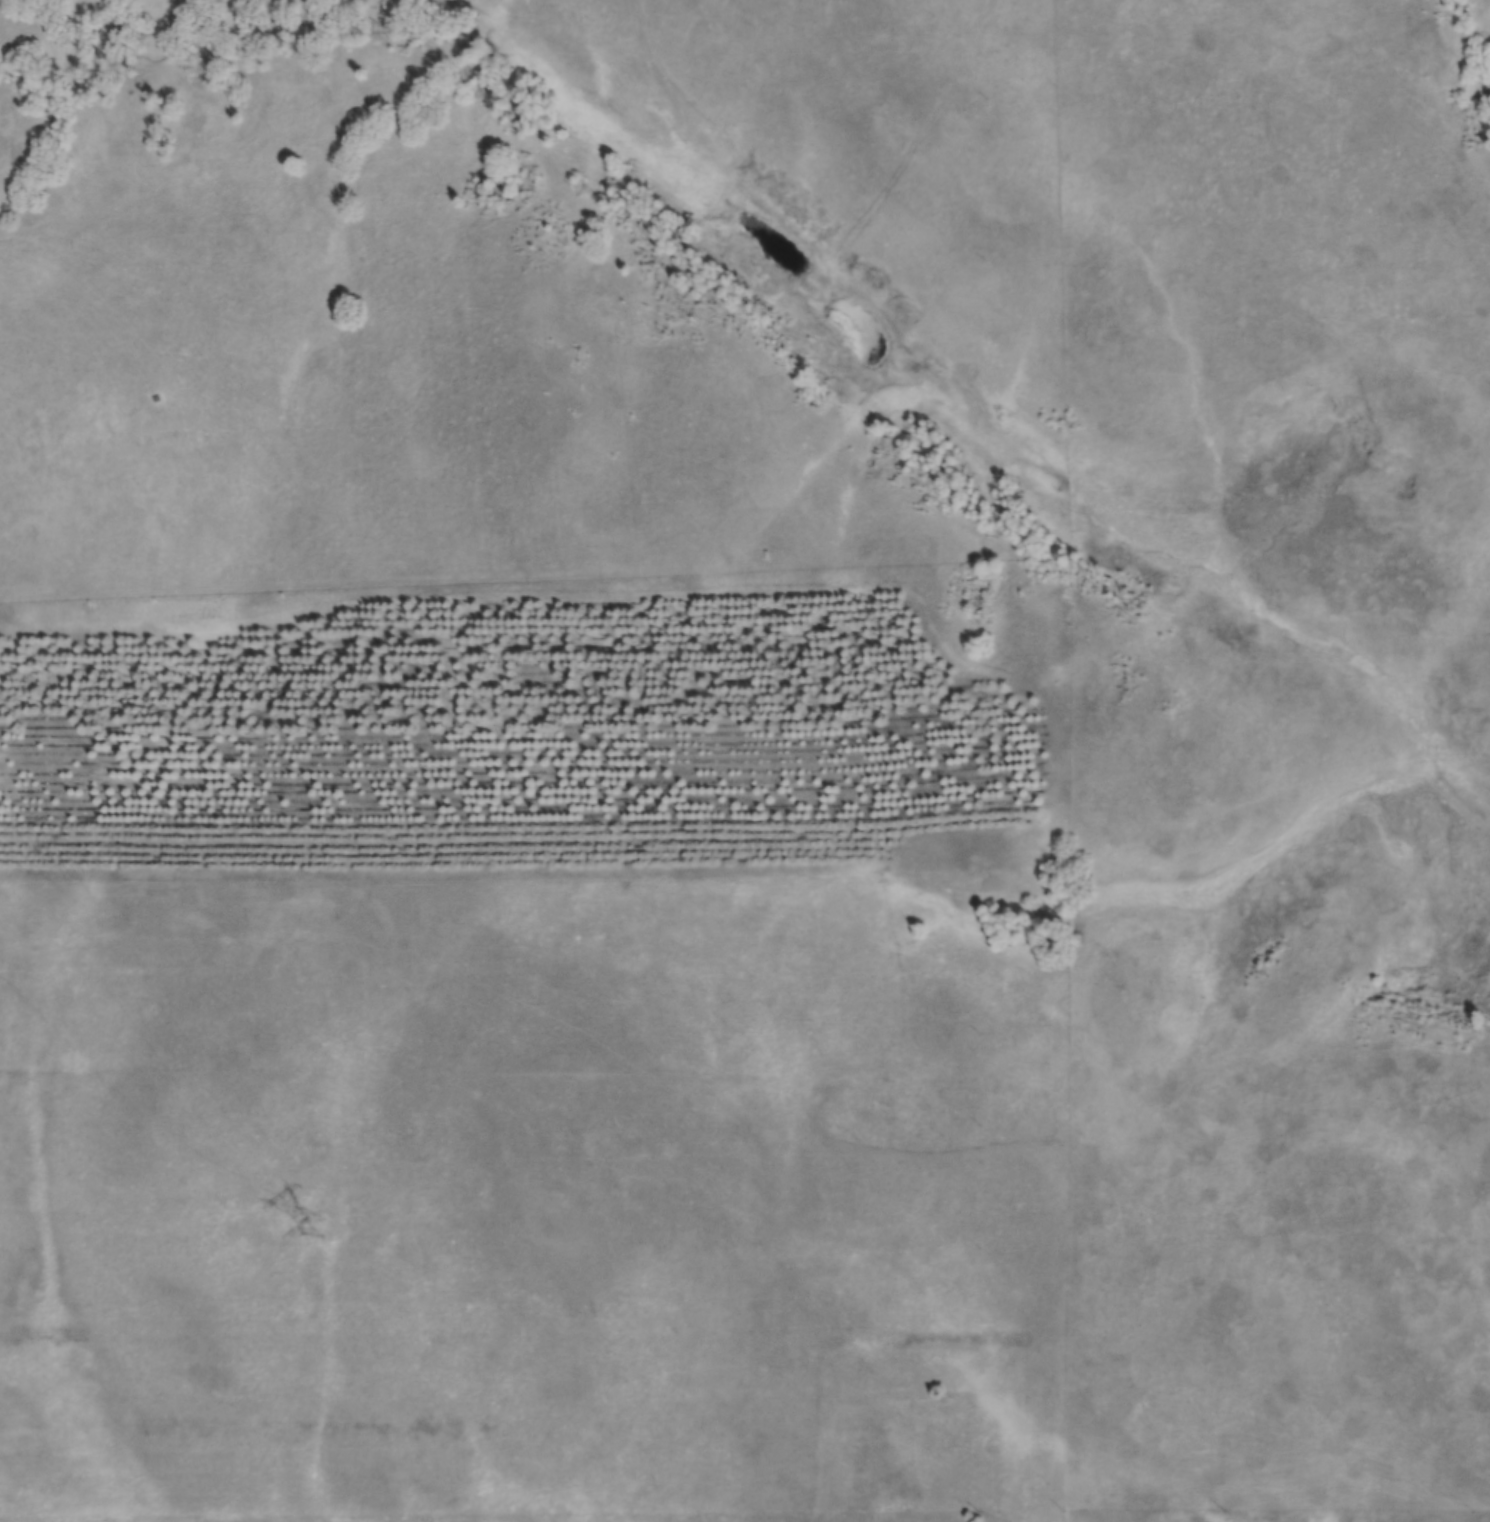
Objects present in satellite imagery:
power tower: (324, 1226)

